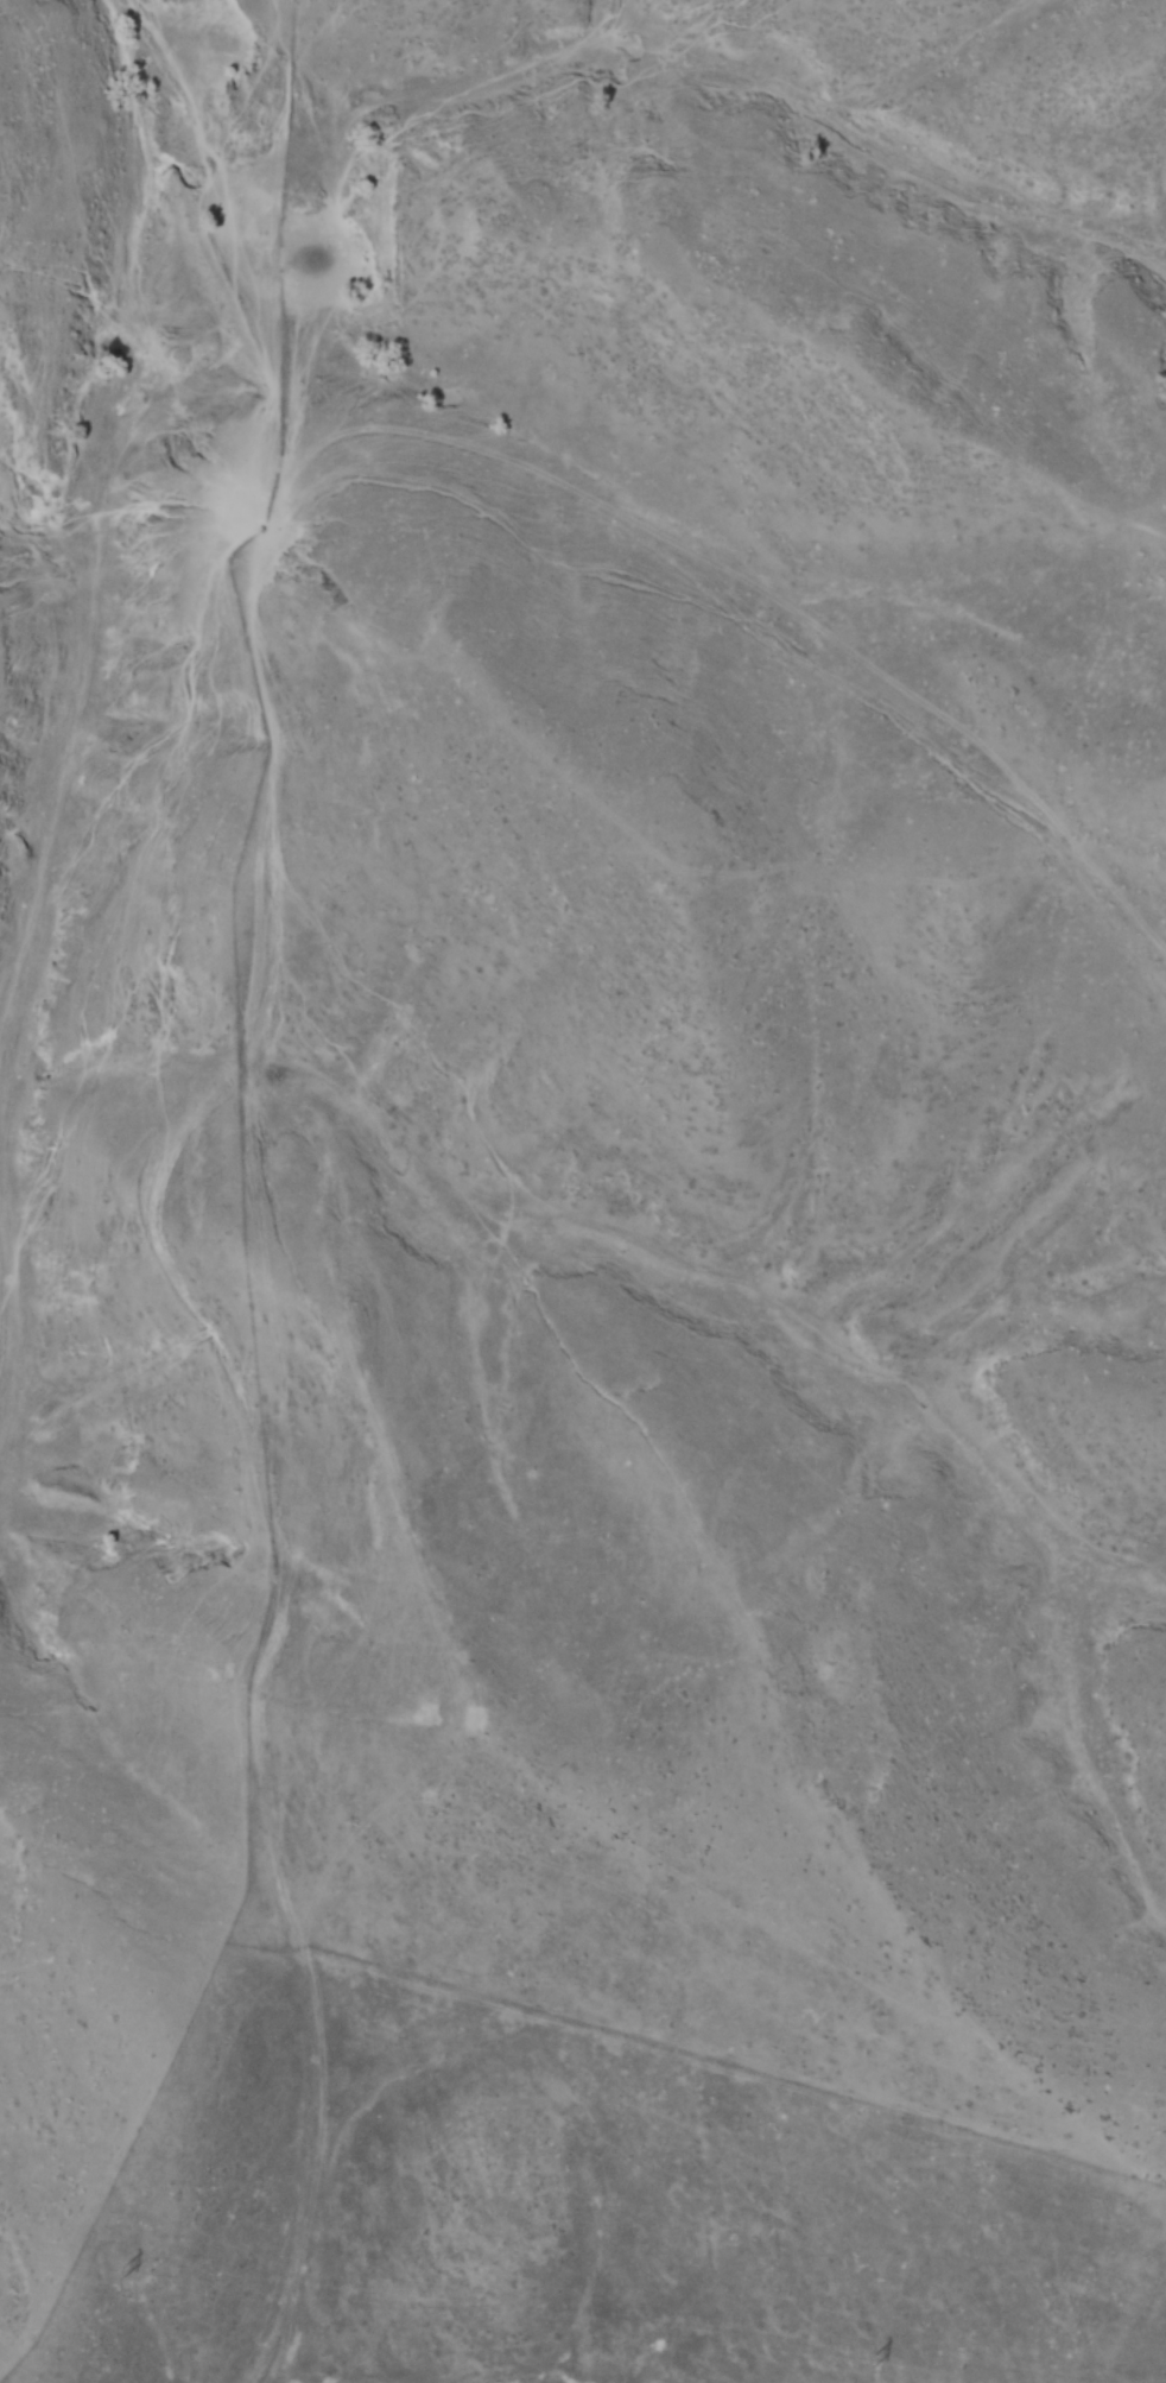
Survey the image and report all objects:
power tower: (122, 2274)
power tower: (873, 2363)

